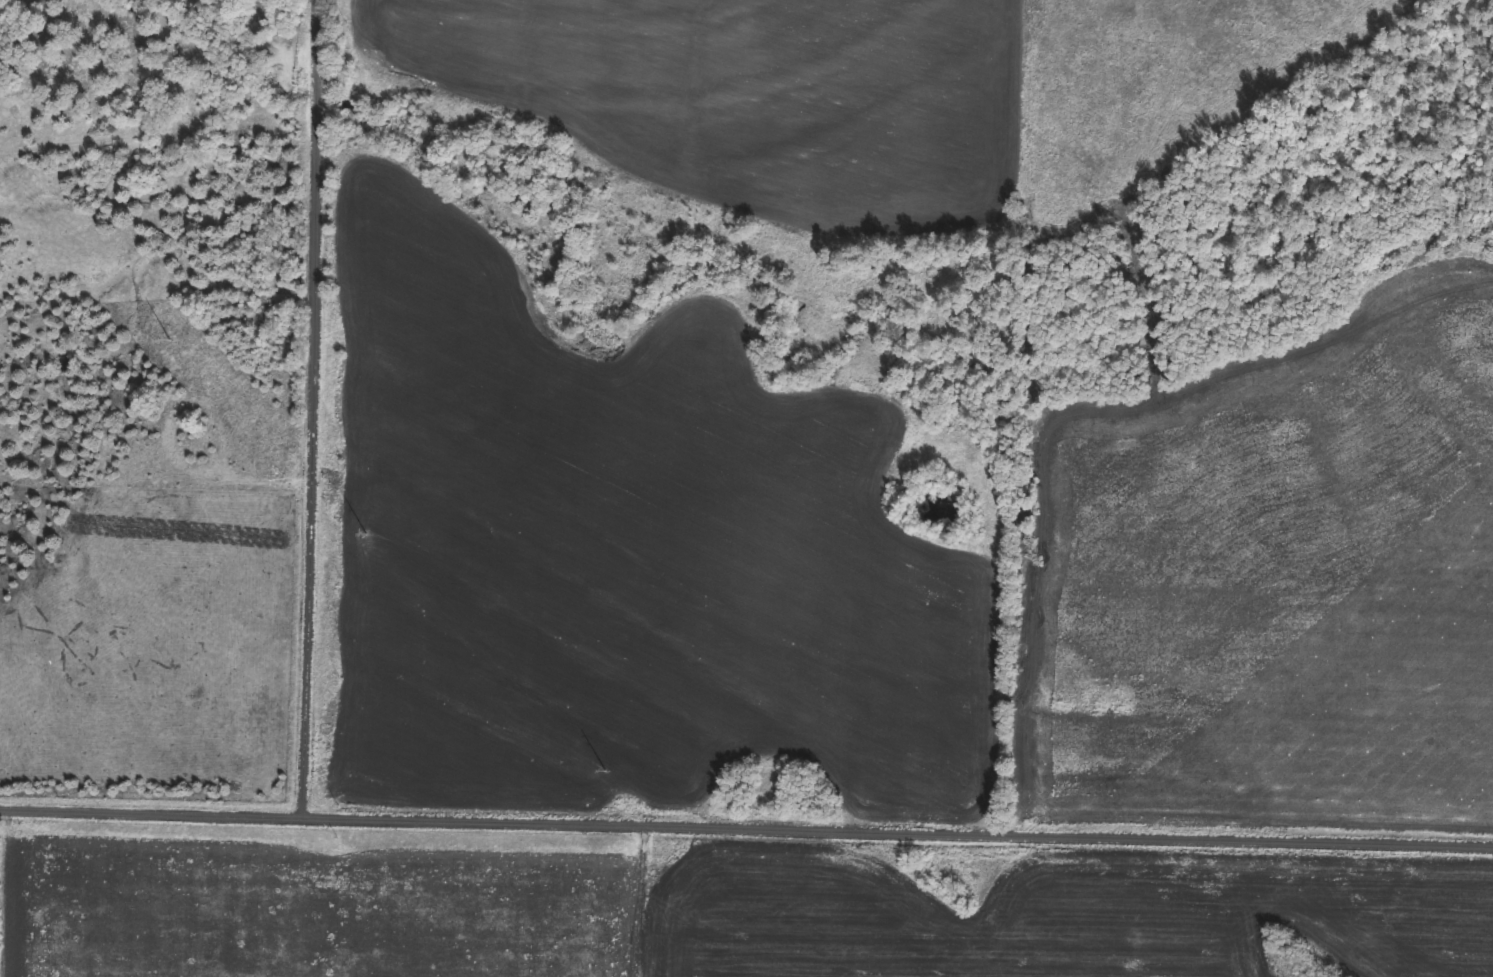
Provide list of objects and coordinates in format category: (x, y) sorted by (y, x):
power tower: (176, 340)
road: (315, 409)
power tower: (367, 536)
power tower: (611, 776)
road: (152, 814)
road: (898, 828)
road: (568, 900)

